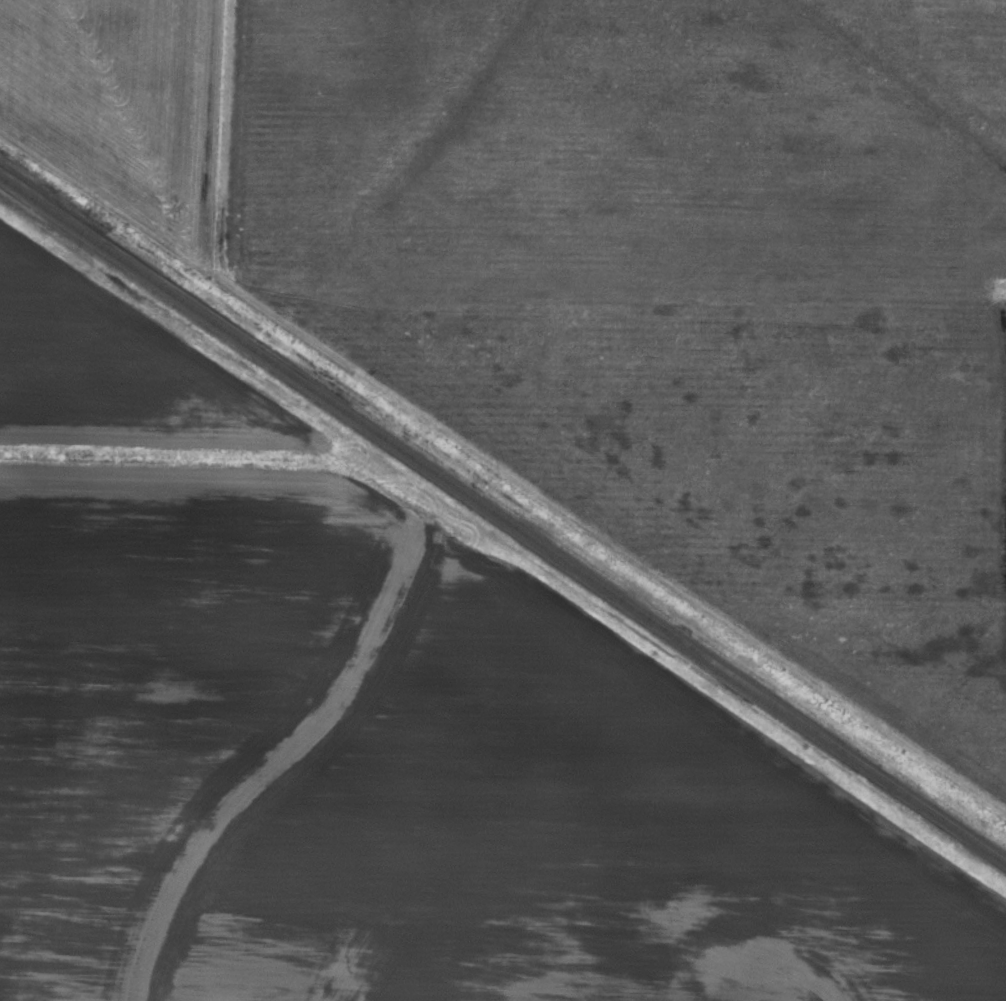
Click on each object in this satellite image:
railway: (503, 518)

